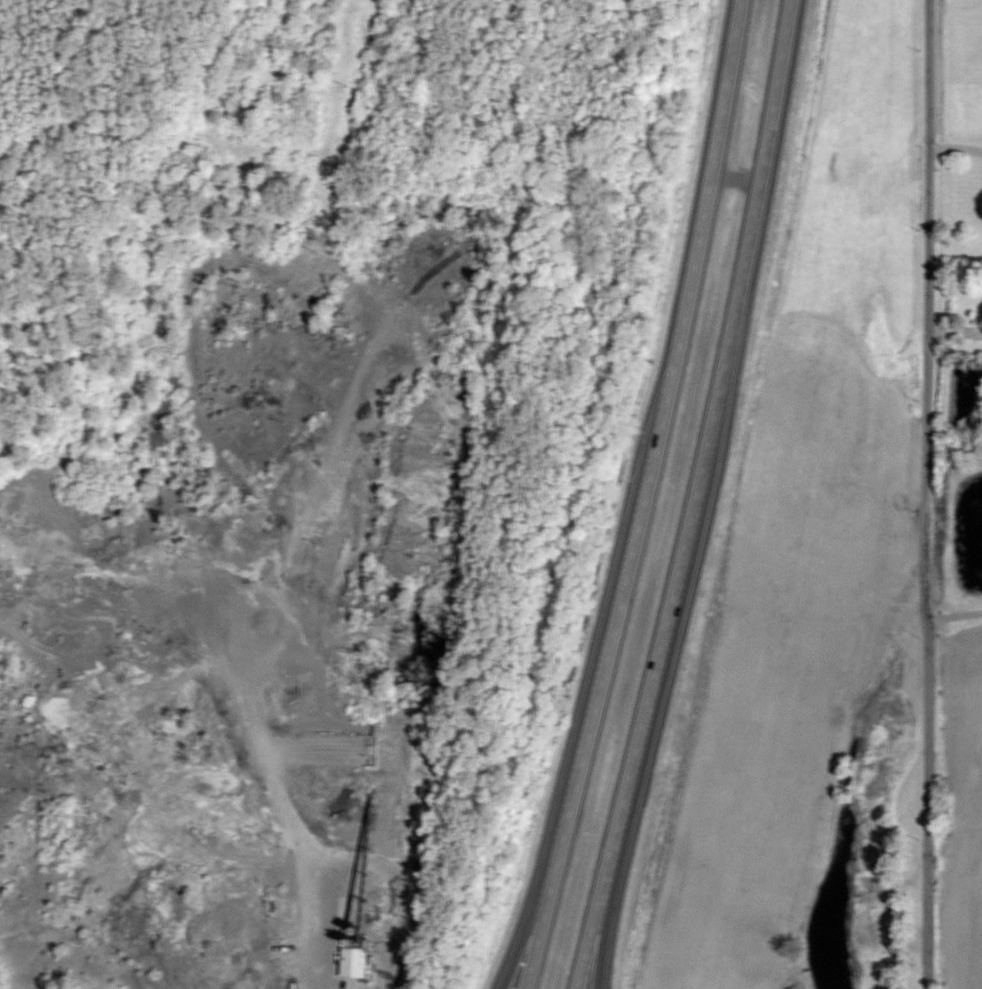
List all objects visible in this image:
road: (954, 145)
road: (924, 494)
road: (642, 497)
road: (695, 497)
road: (952, 611)
road: (602, 932)
road: (520, 952)
building: (354, 957)

